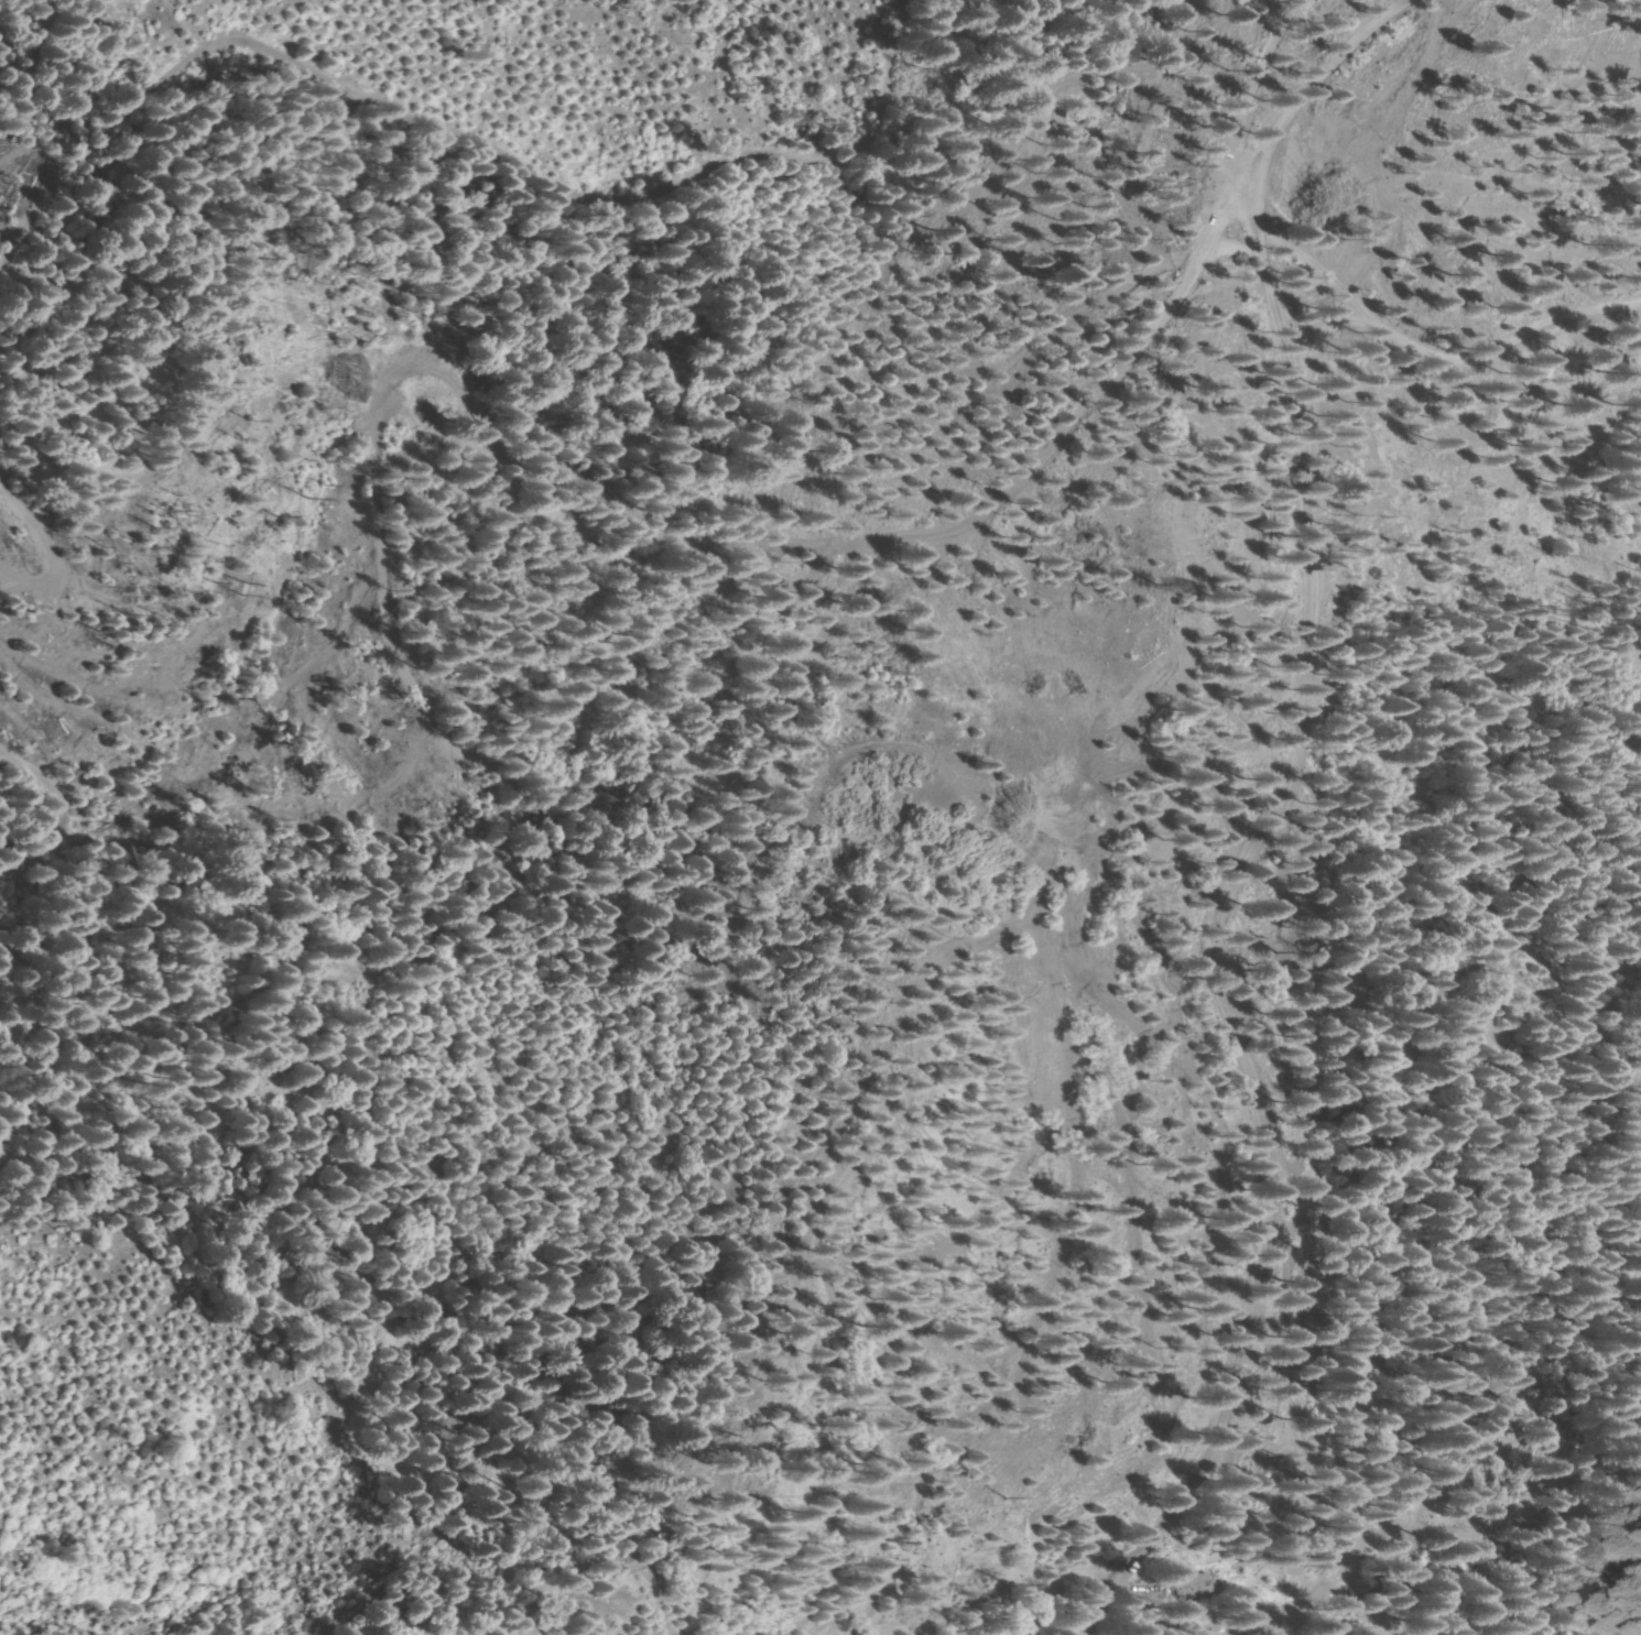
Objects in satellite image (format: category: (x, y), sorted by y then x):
road: (1274, 79)
road: (464, 139)
road: (1461, 347)
road: (383, 440)
road: (51, 517)
road: (56, 797)
road: (1265, 819)
road: (1464, 1414)
building: (1633, 1512)
road: (746, 1519)
building: (1571, 1522)
building: (1398, 1580)
road: (1084, 1582)
building: (1192, 1587)

